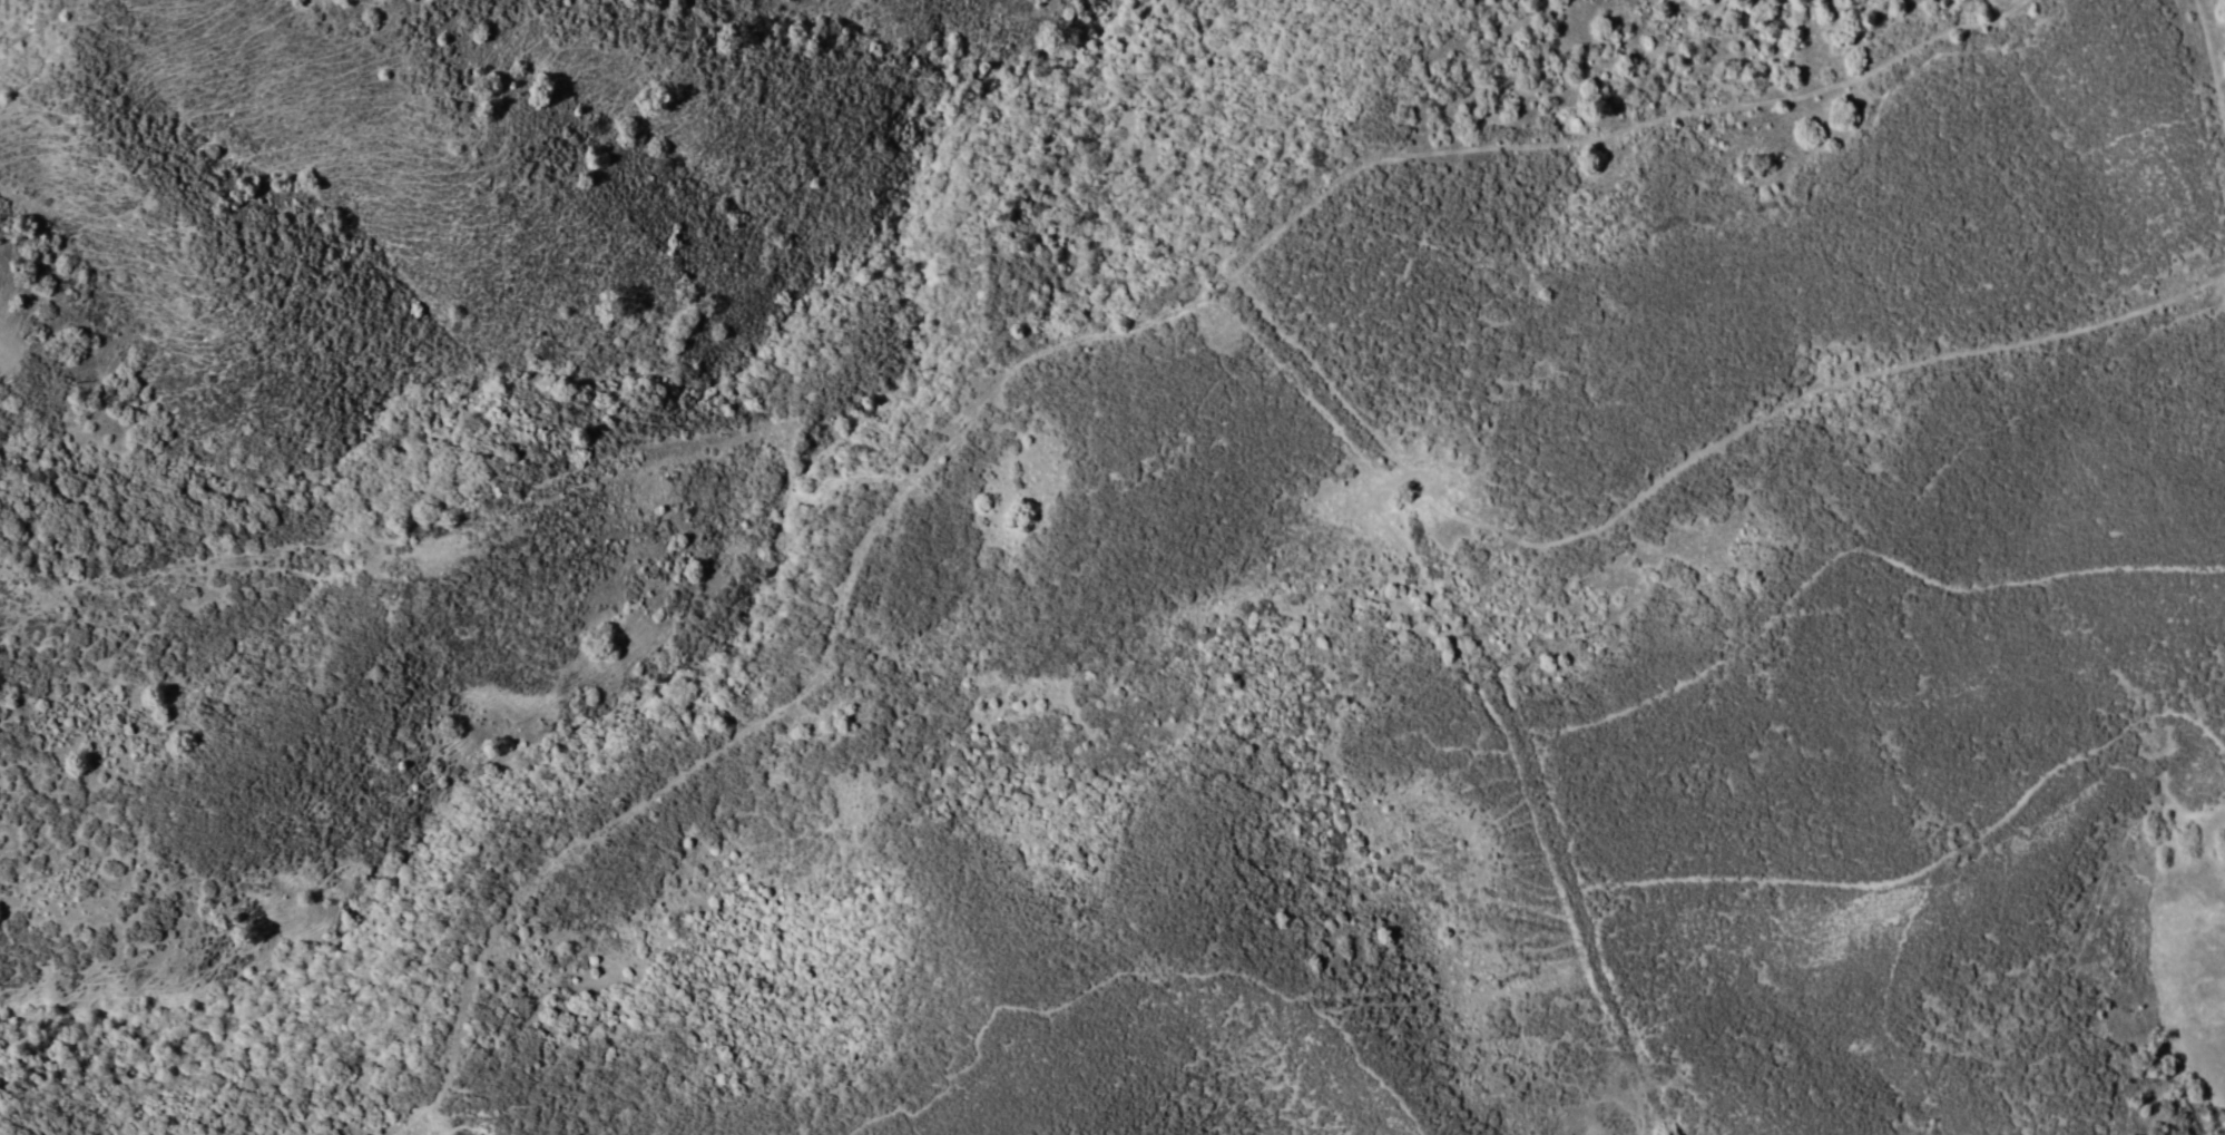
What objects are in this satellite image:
road: (1911, 374)

